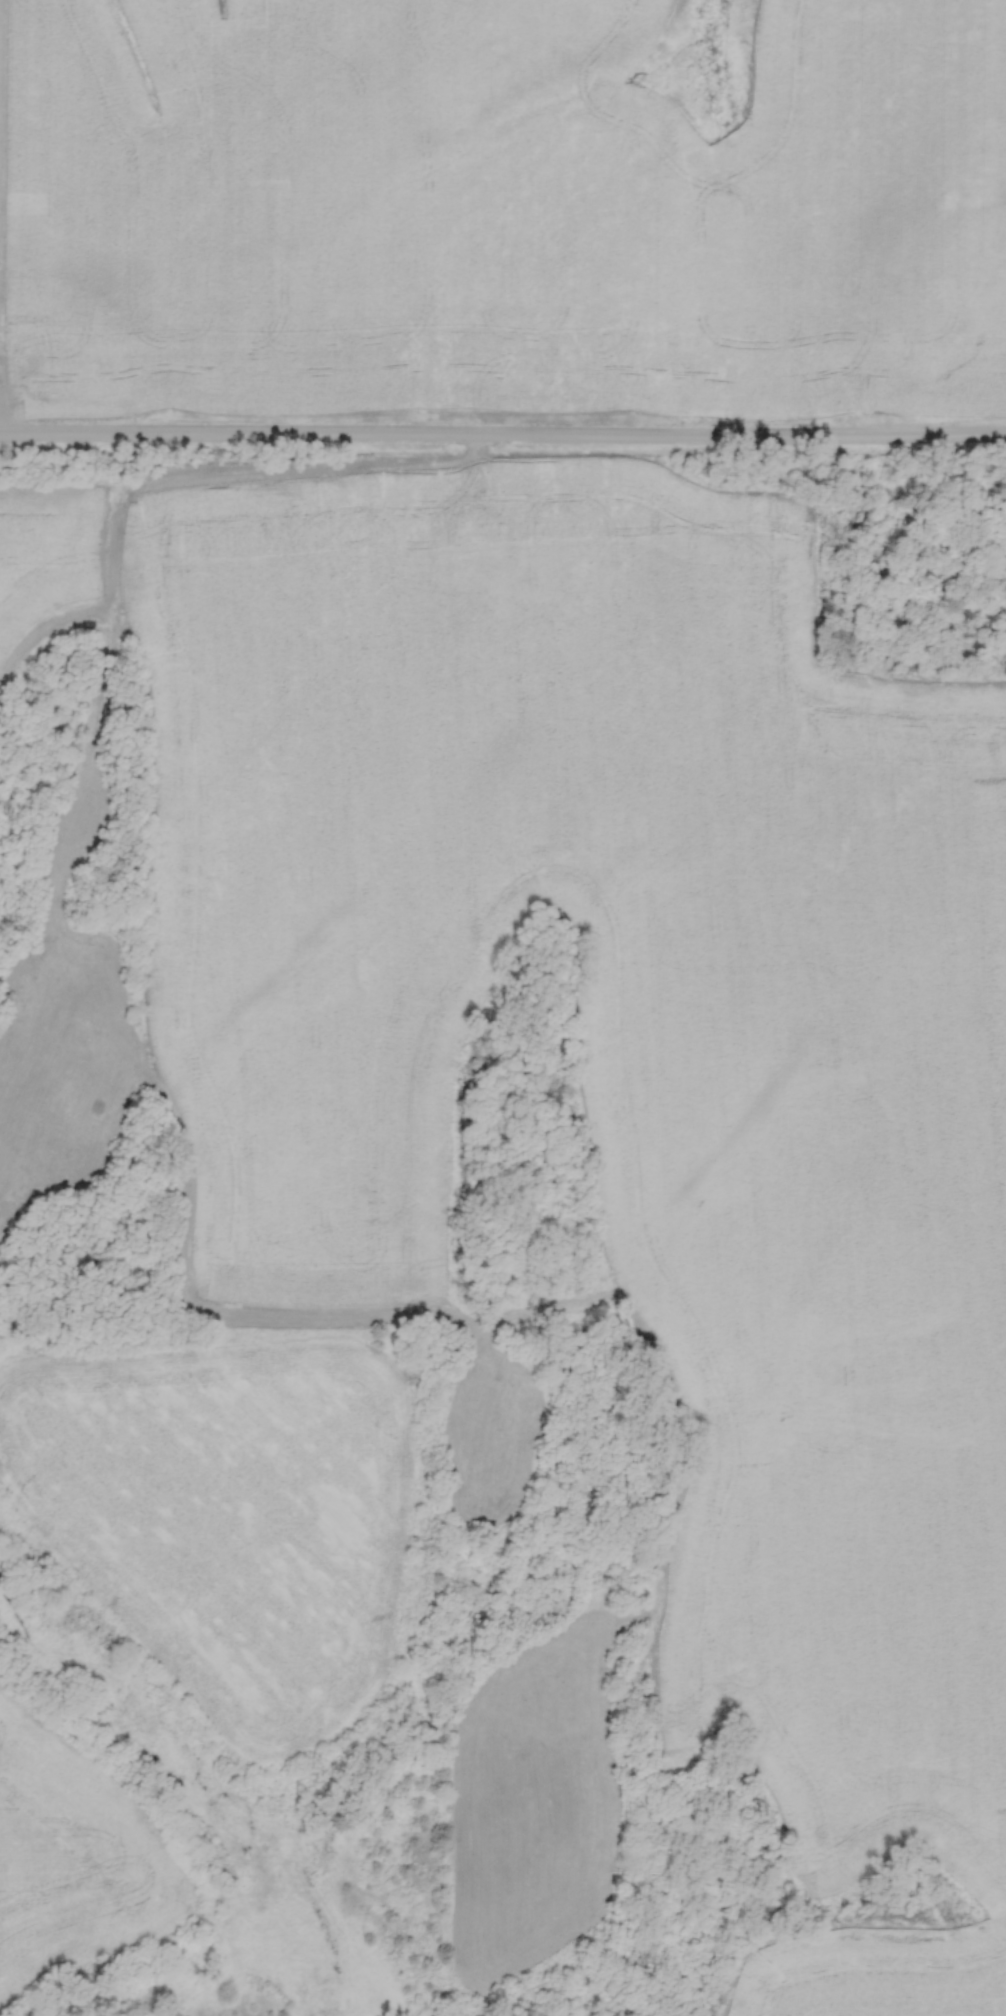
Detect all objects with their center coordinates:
road: (503, 437)
building: (1002, 527)

